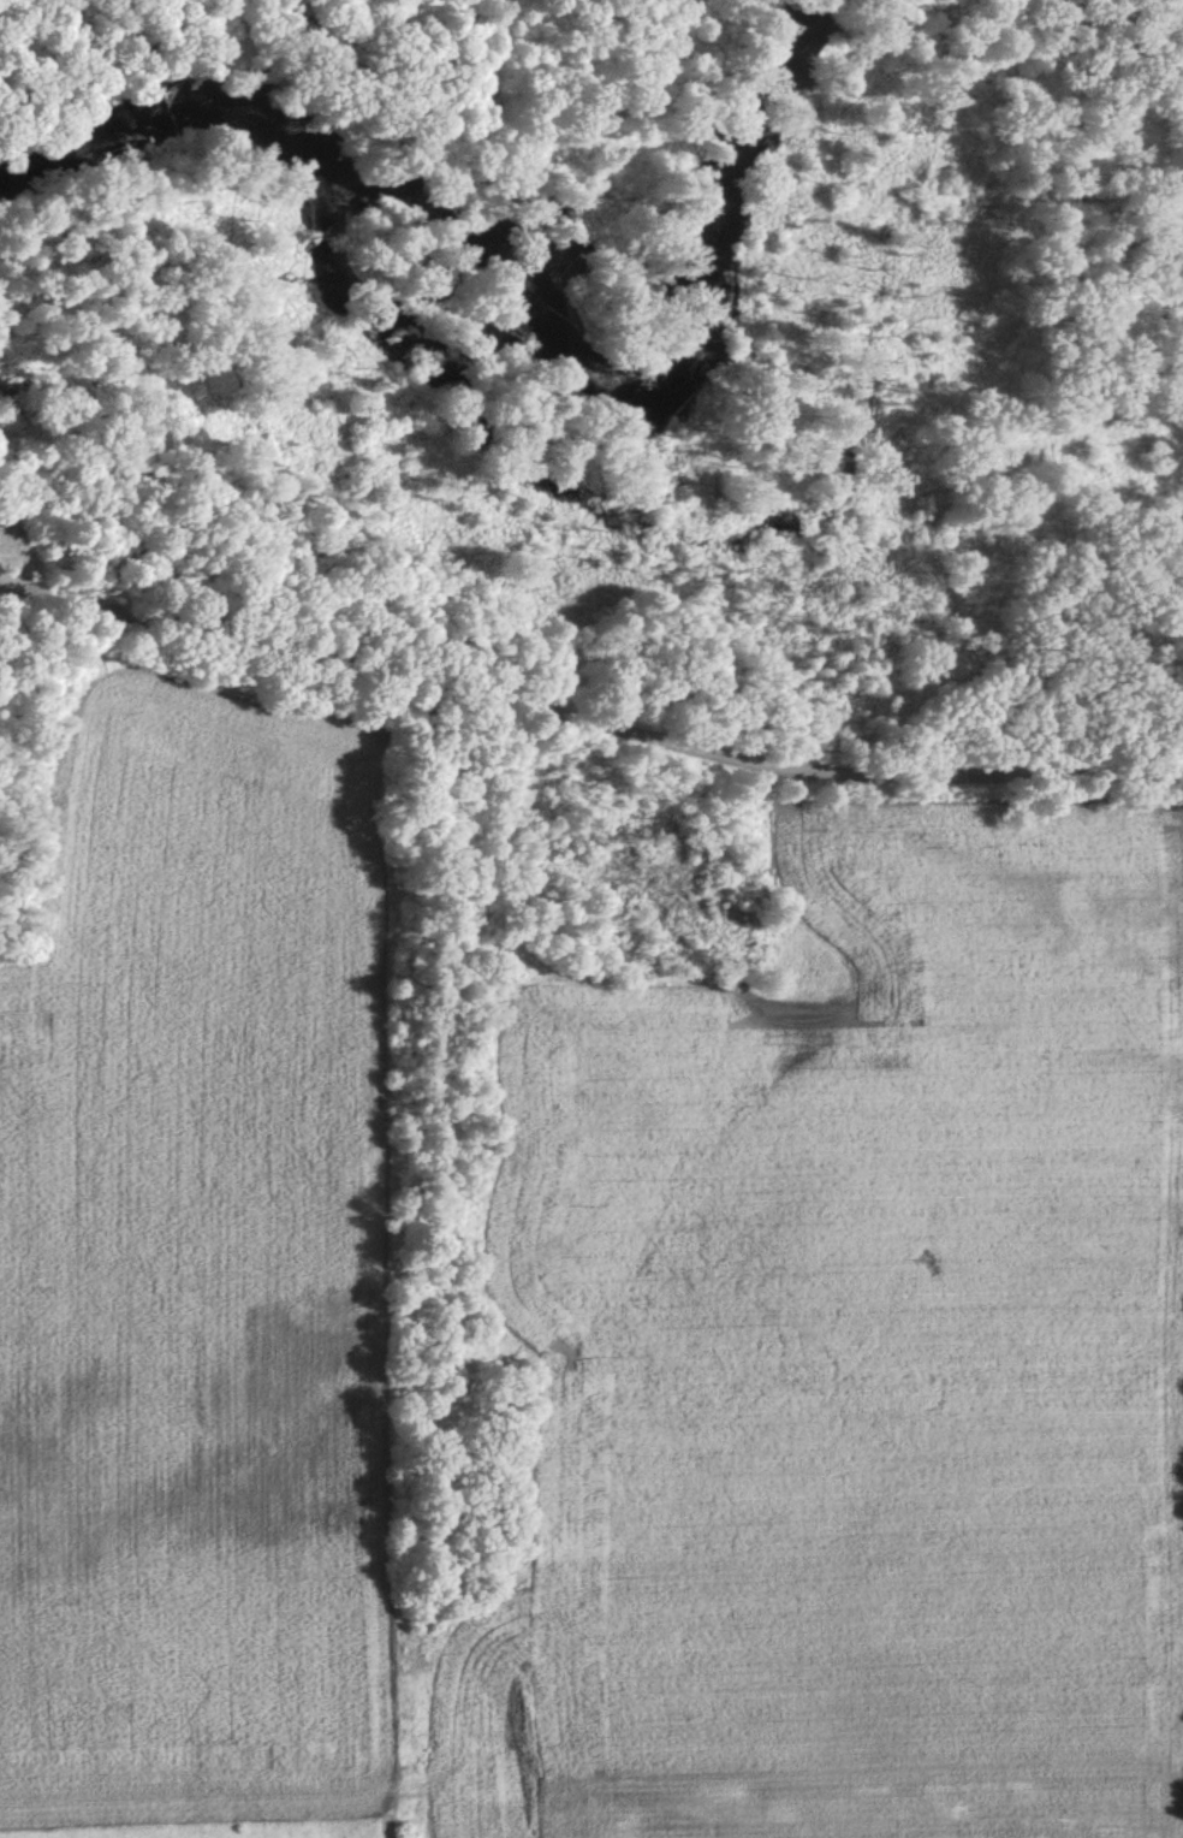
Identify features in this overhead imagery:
river: (525, 325)
road: (587, 719)

